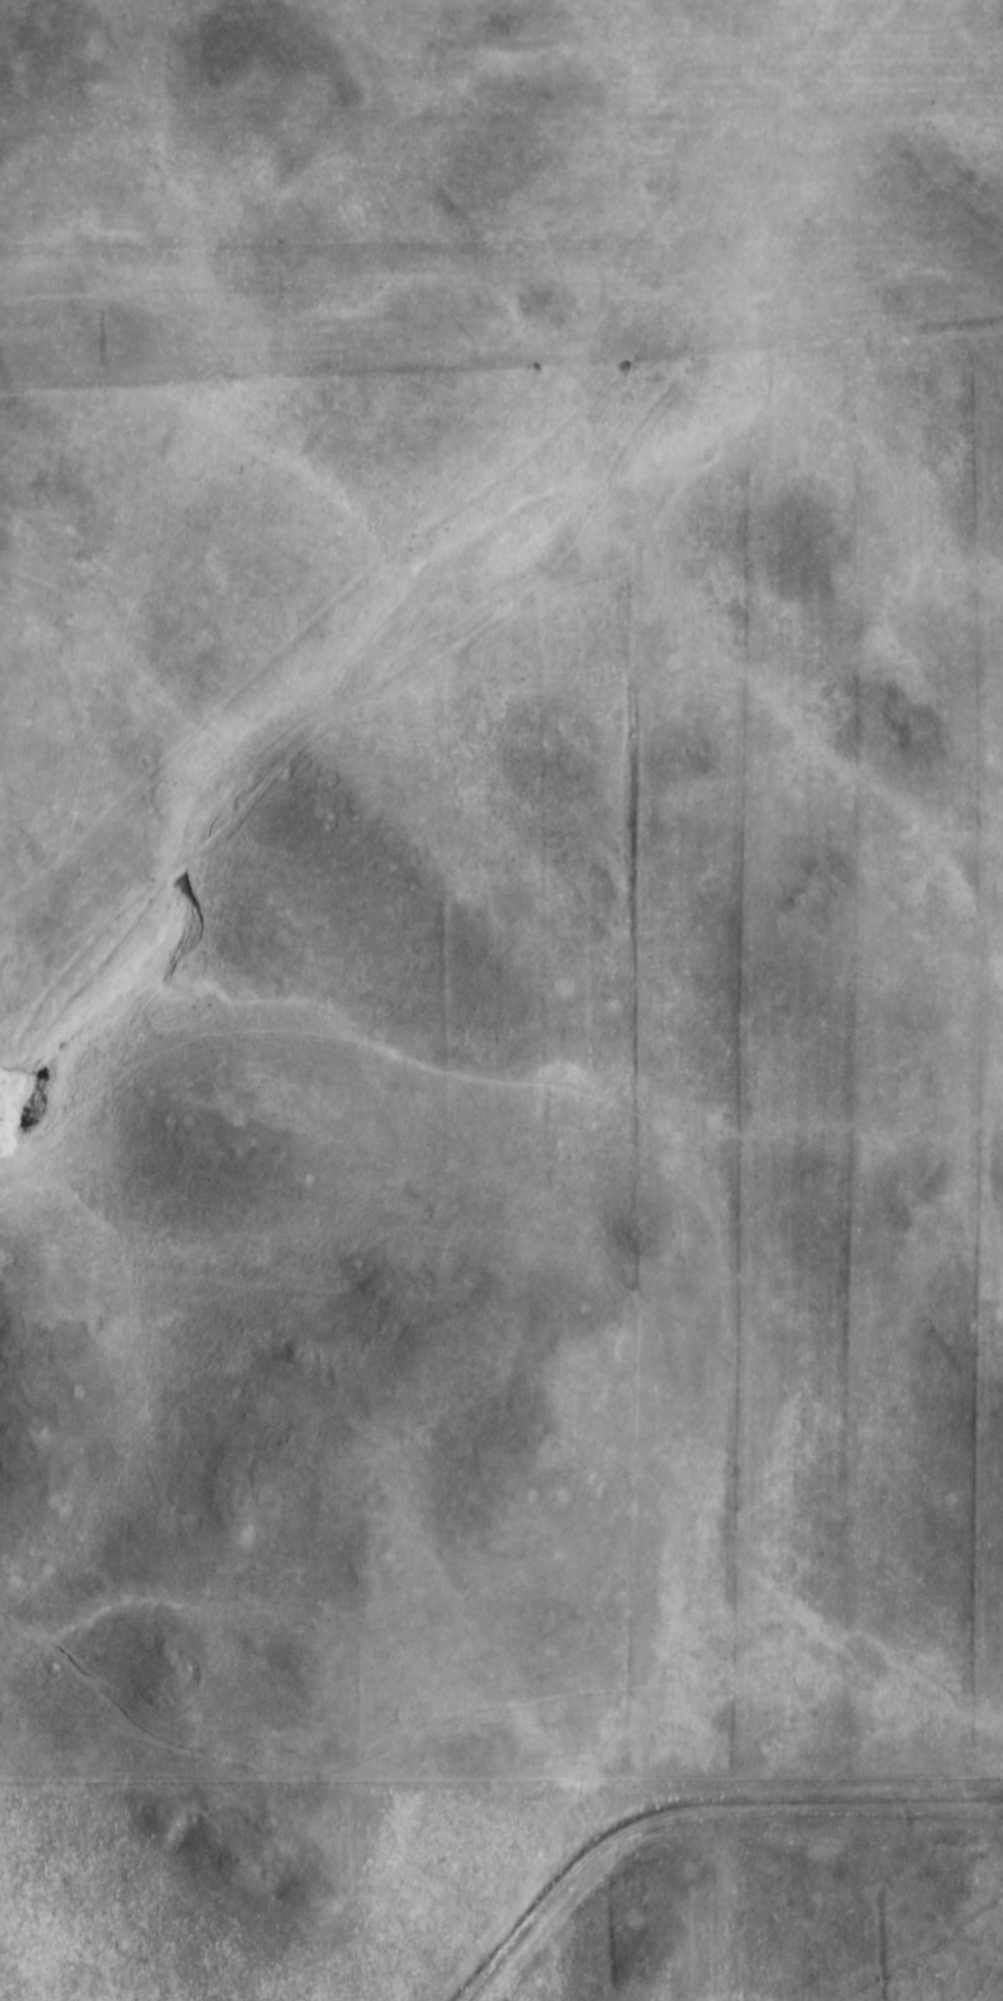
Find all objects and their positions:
road: (698, 1814)

